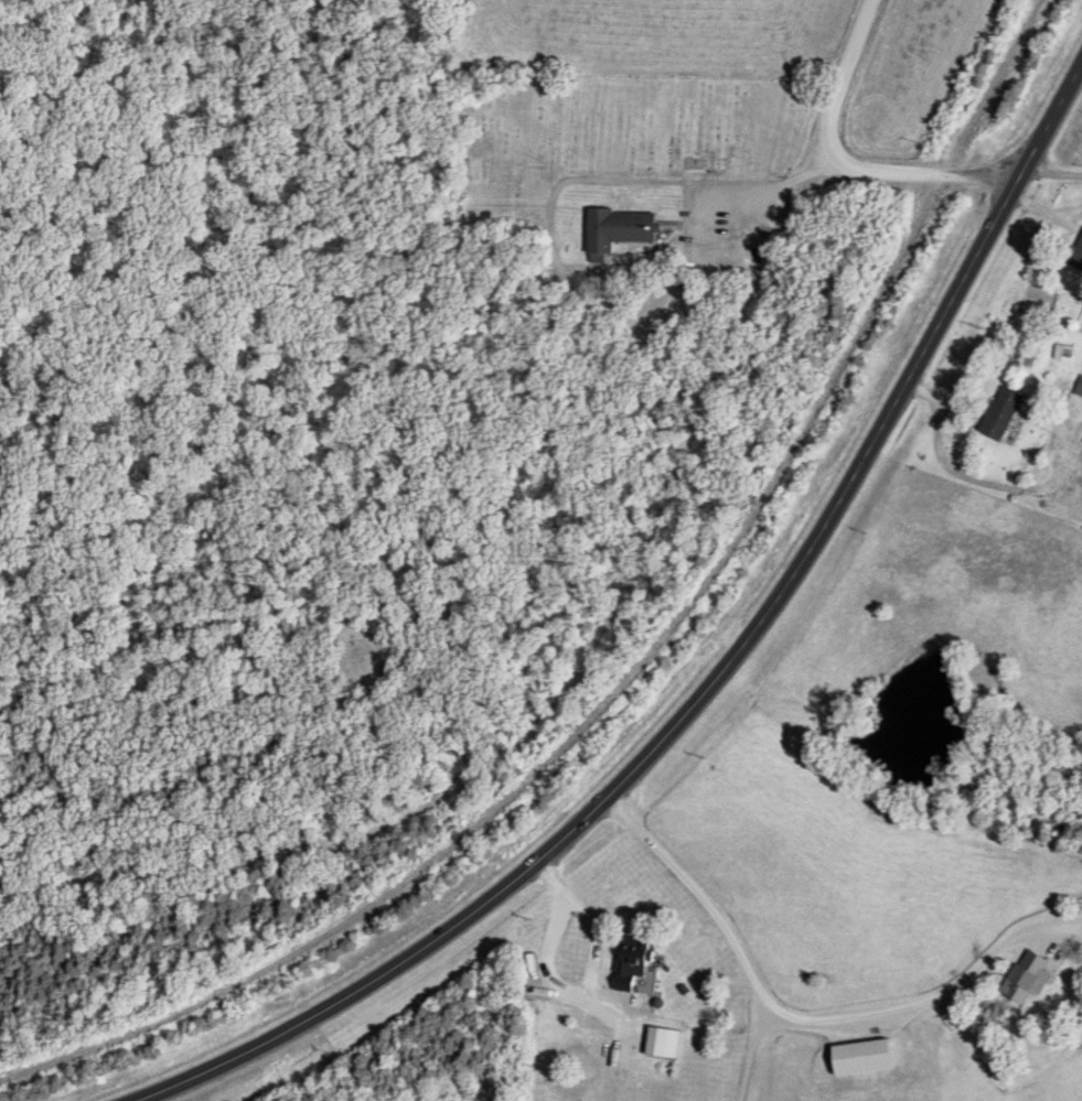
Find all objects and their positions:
road: (858, 37)
road: (827, 121)
road: (860, 171)
road: (1053, 174)
road: (1043, 214)
building: (614, 228)
building: (1075, 252)
building: (1079, 389)
building: (997, 412)
railway: (630, 663)
road: (716, 682)
road: (557, 938)
building: (629, 964)
building: (1024, 976)
road: (803, 1021)
building: (653, 1043)
building: (858, 1057)

